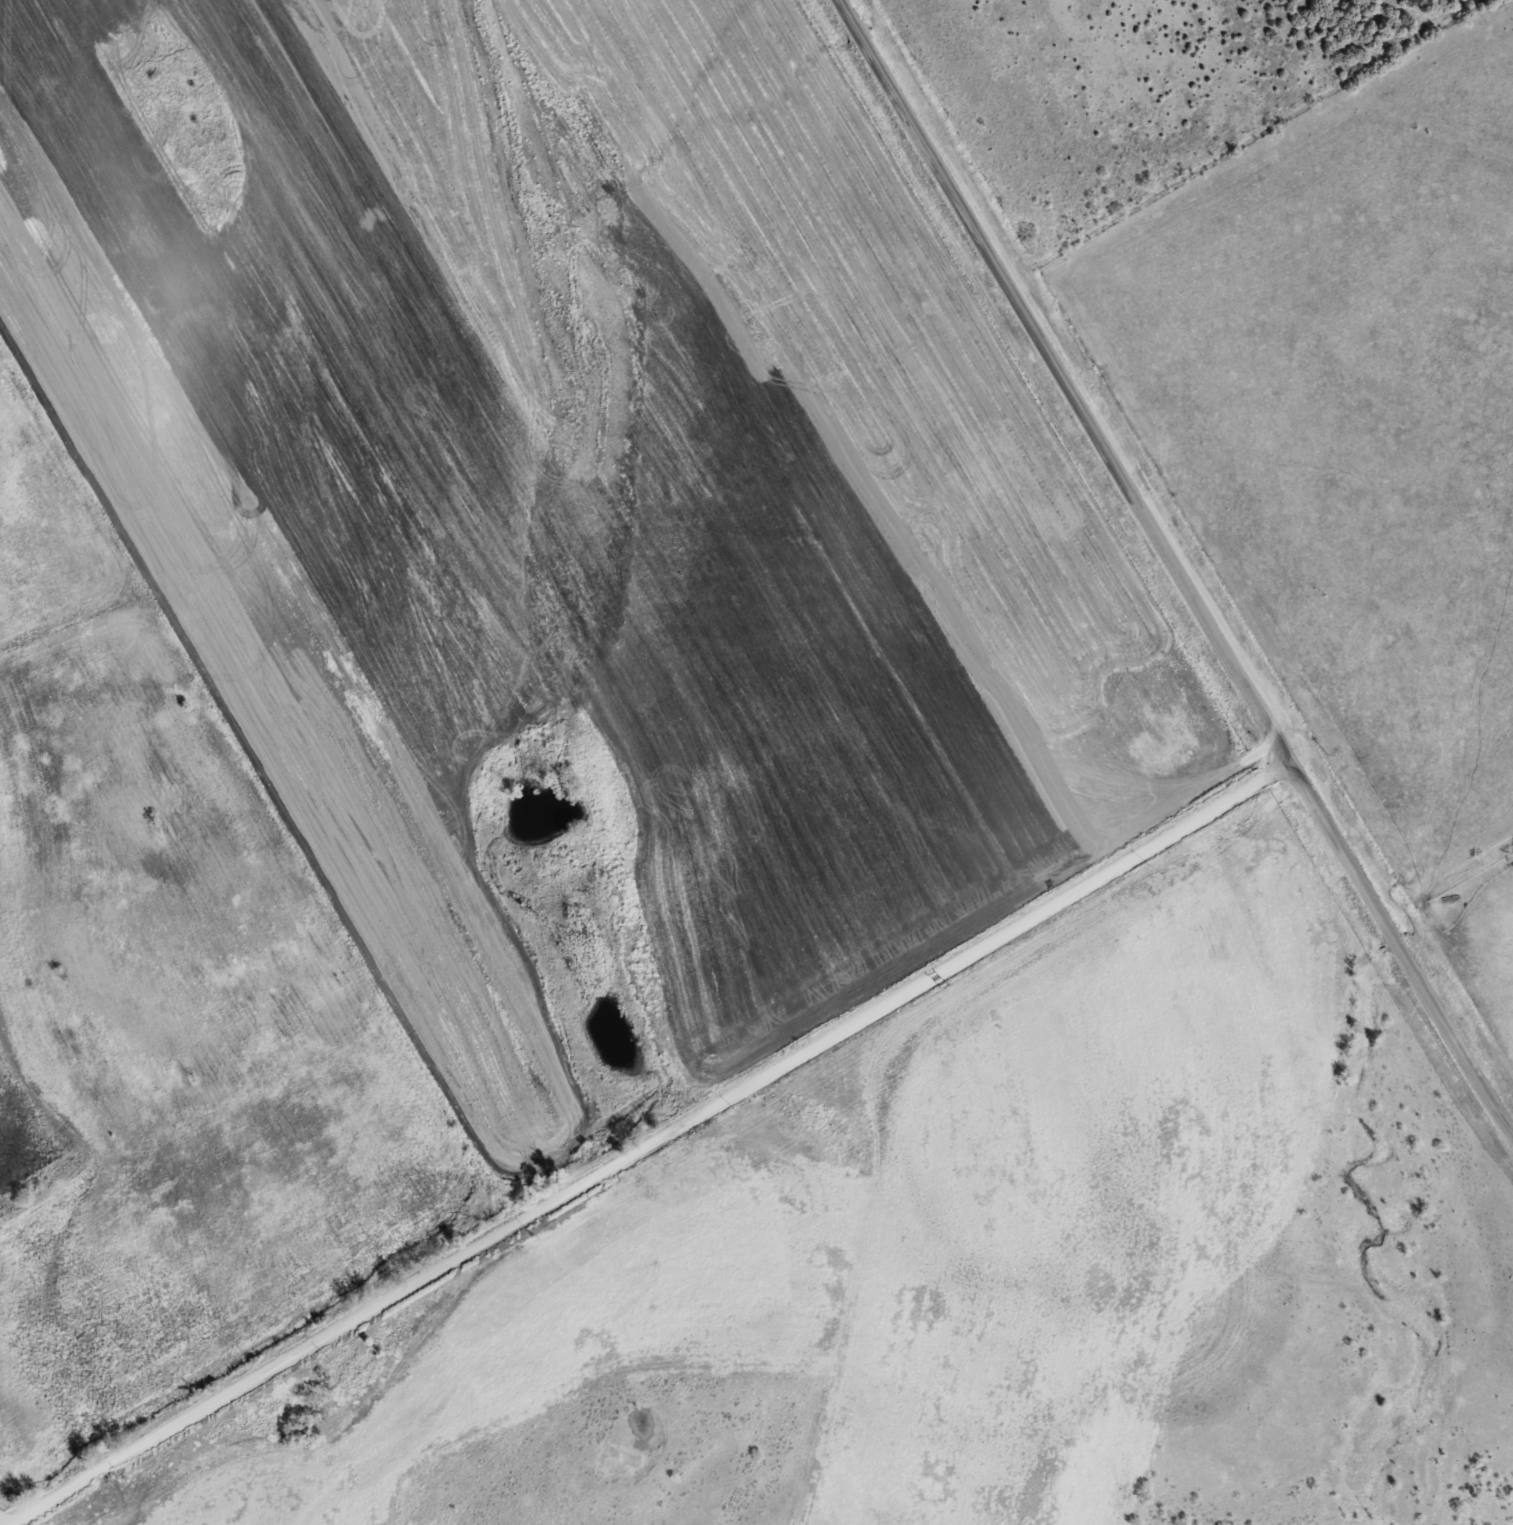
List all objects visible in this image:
road: (1176, 567)
road: (658, 1152)

